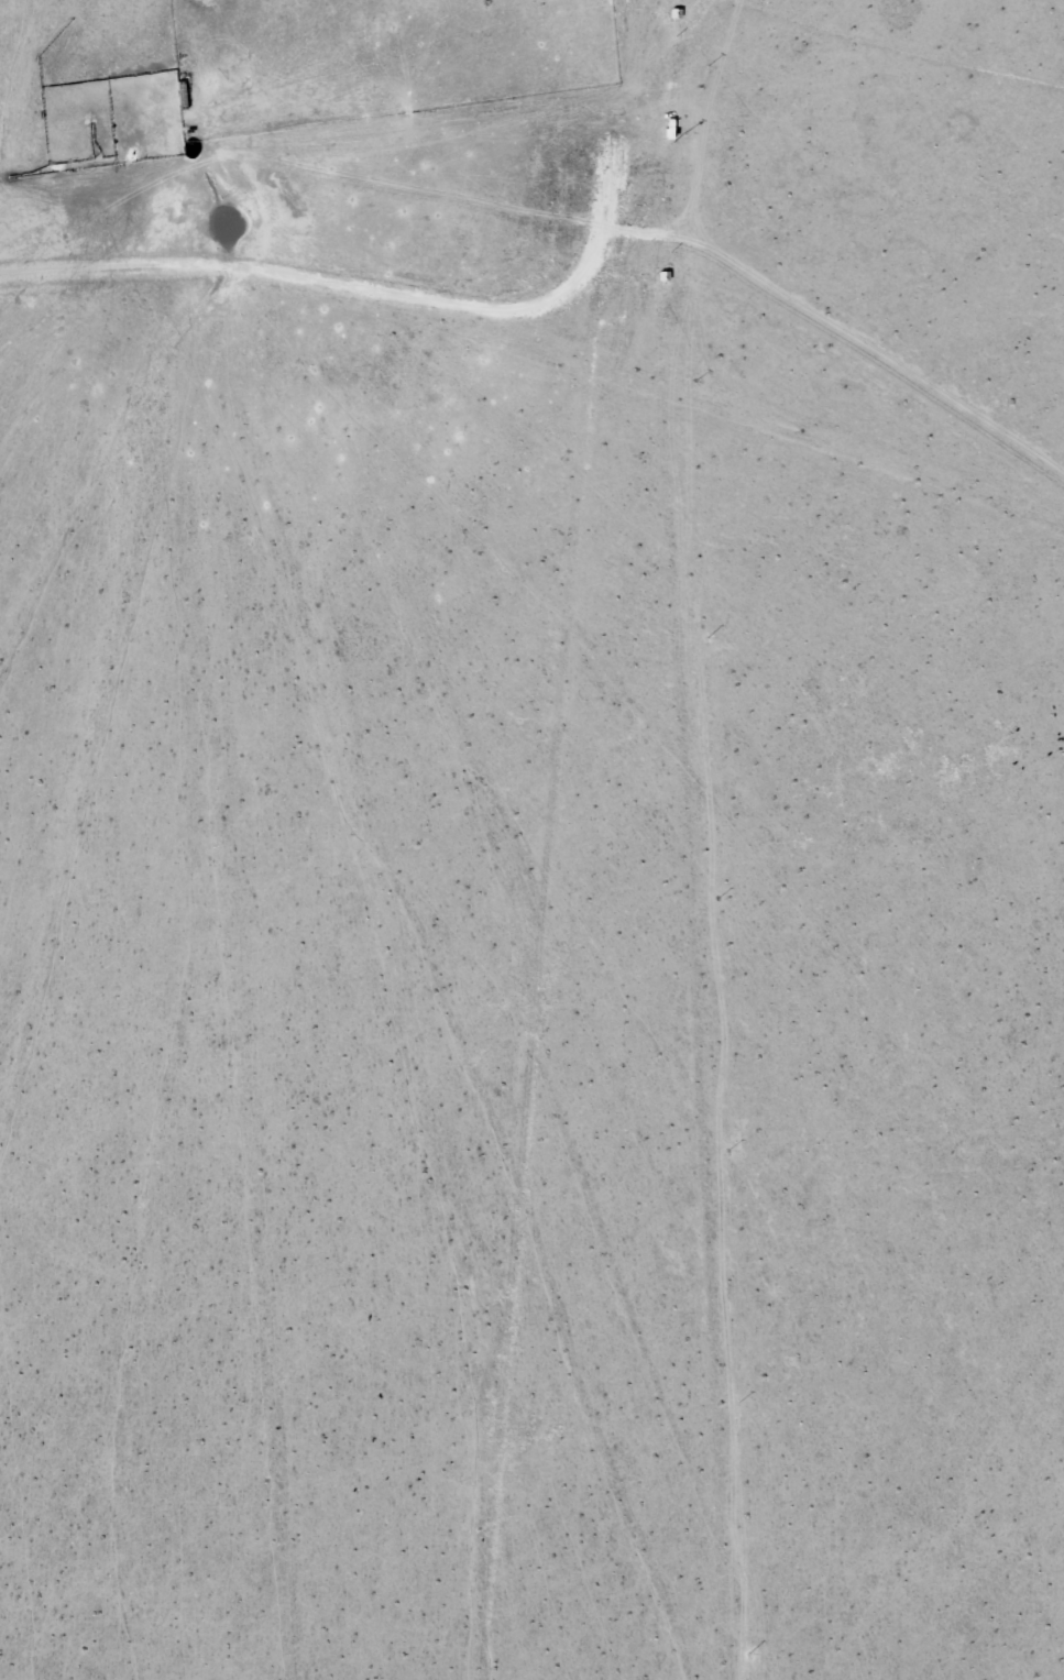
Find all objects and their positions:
road: (13, 157)
road: (361, 215)
road: (701, 798)

